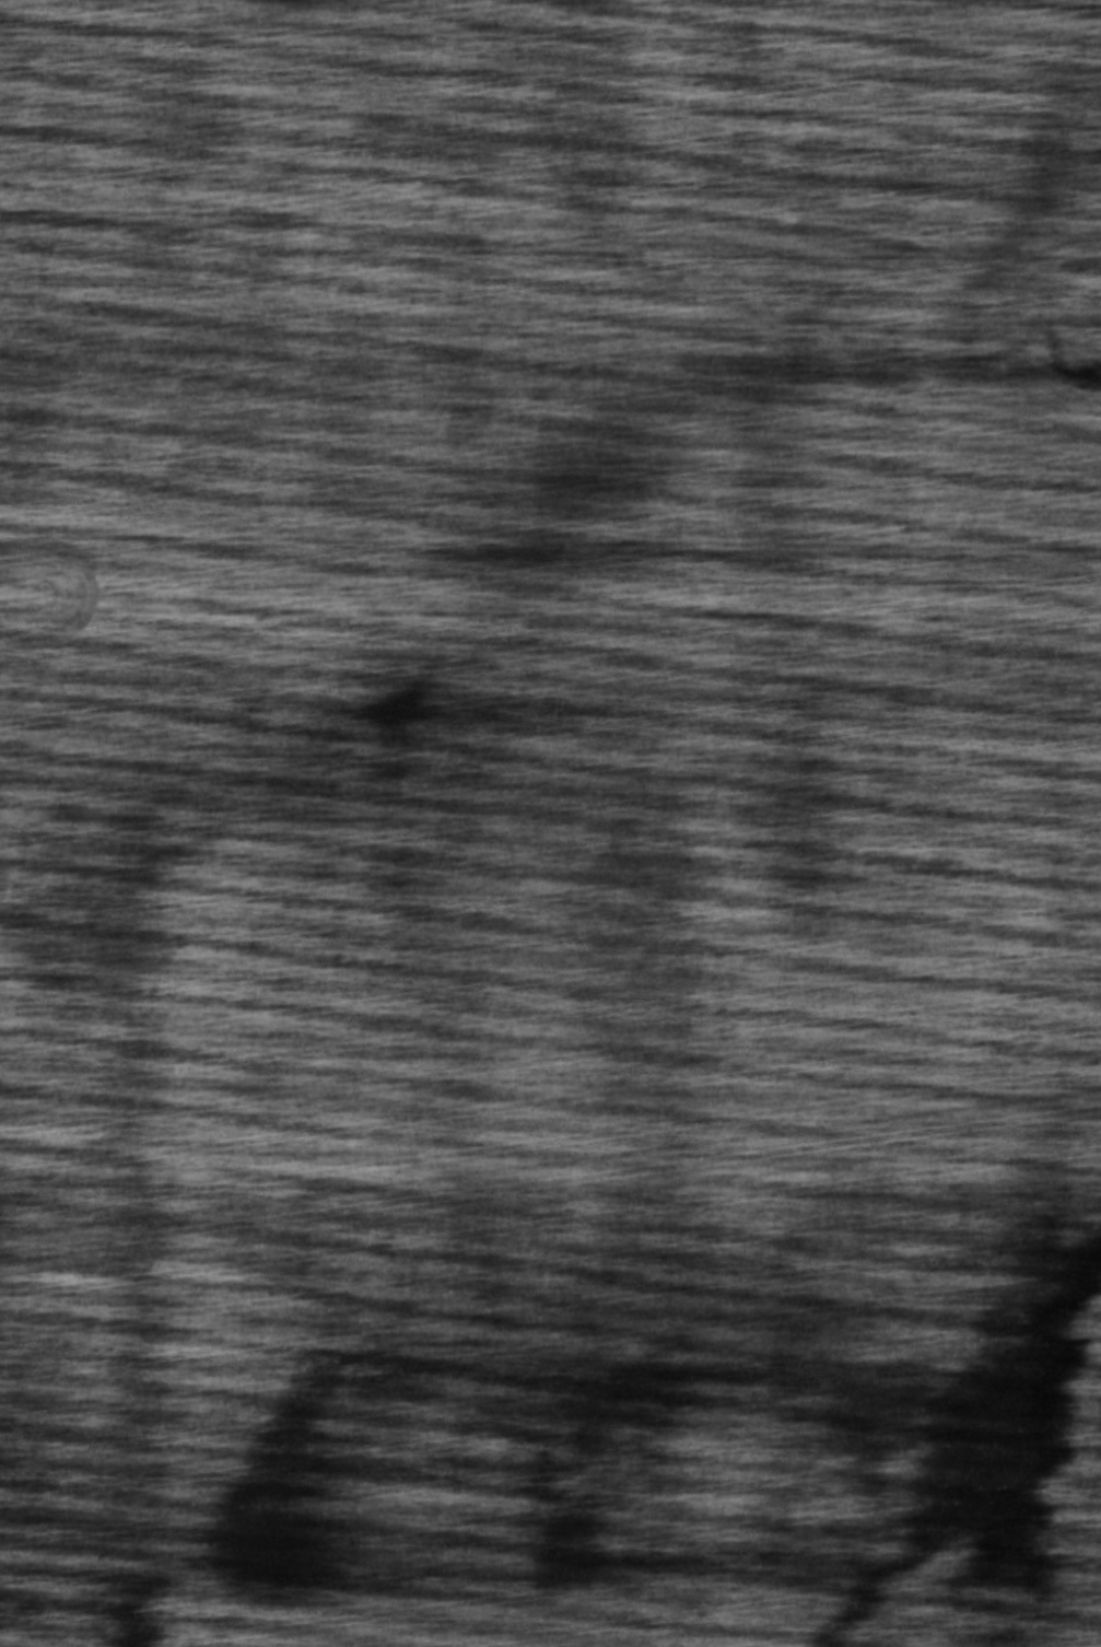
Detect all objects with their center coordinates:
crop: (550, 823)

